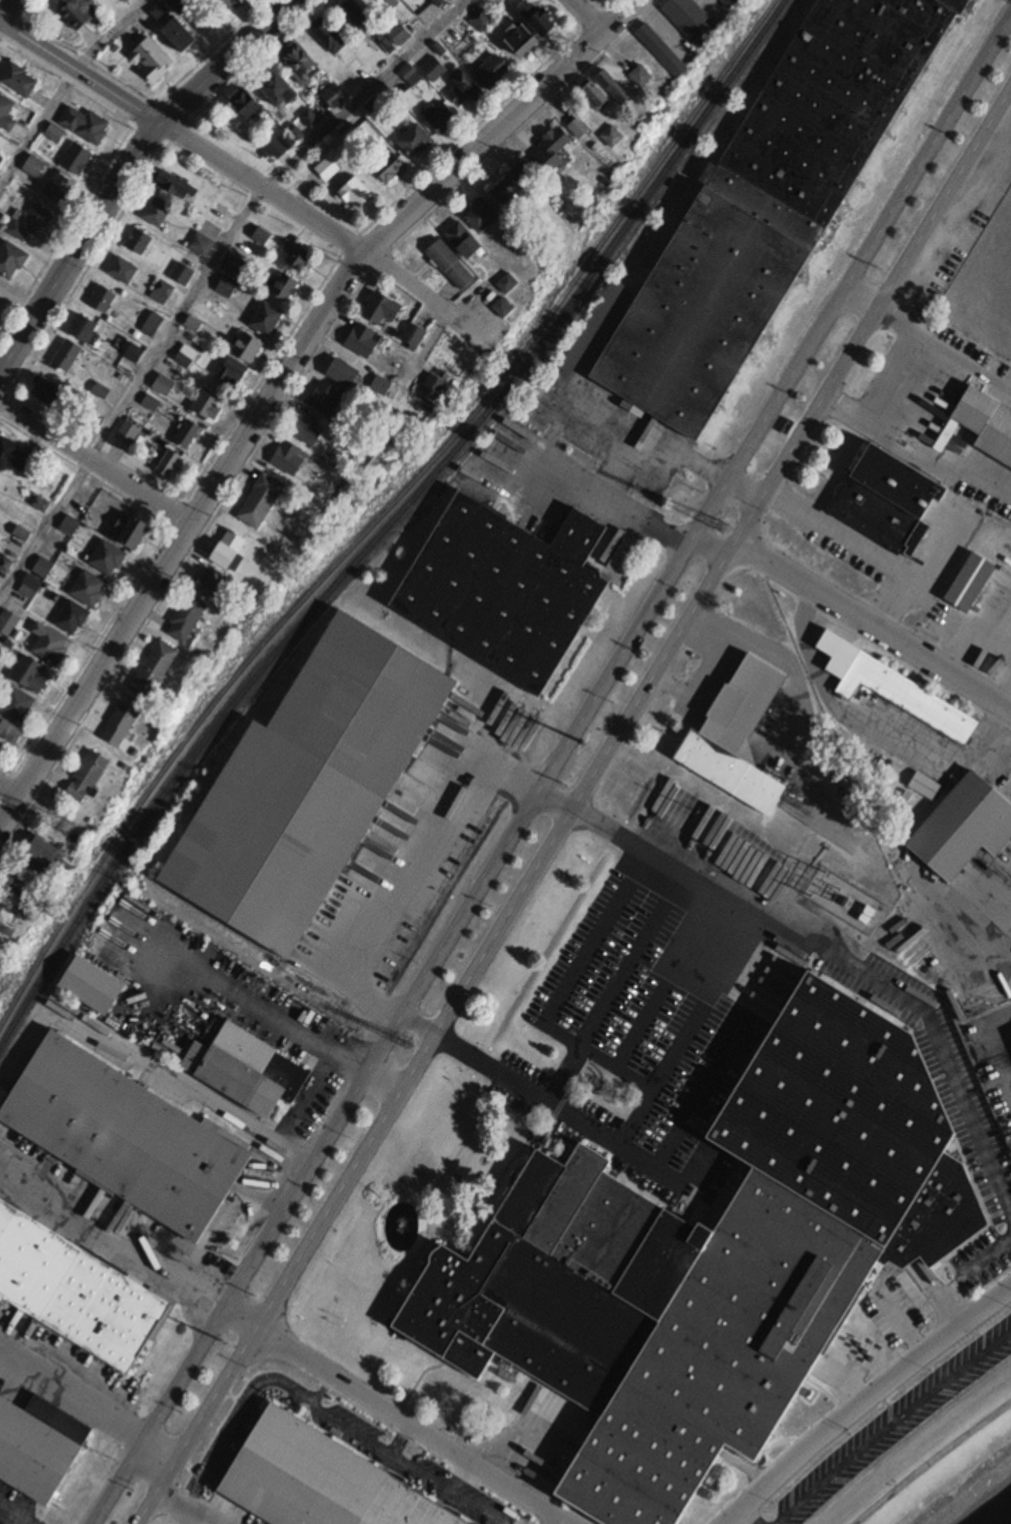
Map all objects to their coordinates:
building: (509, 0)
building: (126, 1)
building: (389, 3)
building: (734, 3)
building: (183, 6)
road: (6, 8)
building: (355, 15)
building: (77, 17)
building: (542, 20)
building: (206, 21)
road: (587, 21)
building: (481, 22)
building: (694, 22)
building: (399, 35)
building: (181, 36)
building: (327, 37)
building: (454, 40)
building: (523, 41)
building: (664, 52)
building: (153, 61)
building: (301, 64)
building: (434, 70)
building: (493, 73)
building: (411, 76)
road: (80, 77)
building: (644, 77)
building: (349, 81)
building: (20, 82)
road: (63, 85)
building: (616, 88)
building: (465, 89)
building: (280, 93)
building: (598, 96)
building: (334, 97)
building: (250, 107)
building: (7, 114)
building: (312, 117)
building: (441, 118)
building: (85, 126)
building: (581, 129)
building: (617, 138)
power tower: (957, 139)
building: (286, 142)
building: (415, 142)
building: (3, 144)
building: (552, 150)
building: (77, 160)
building: (35, 167)
building: (328, 169)
building: (391, 169)
road: (132, 171)
building: (174, 185)
building: (515, 185)
building: (60, 188)
building: (357, 194)
building: (772, 205)
building: (157, 213)
building: (483, 216)
building: (31, 224)
road: (330, 232)
building: (139, 242)
building: (466, 242)
building: (201, 245)
building: (11, 260)
building: (232, 265)
building: (451, 265)
power tower: (878, 269)
building: (123, 271)
building: (182, 274)
road: (206, 275)
road: (851, 278)
building: (284, 285)
building: (510, 285)
building: (227, 287)
building: (162, 293)
road: (861, 298)
building: (102, 300)
building: (383, 309)
building: (506, 309)
road: (871, 315)
building: (267, 320)
building: (153, 325)
building: (593, 327)
building: (85, 330)
building: (414, 336)
building: (364, 341)
building: (249, 349)
building: (135, 354)
building: (67, 356)
building: (186, 357)
building: (231, 371)
building: (344, 374)
road: (280, 382)
building: (164, 386)
building: (382, 386)
building: (435, 389)
building: (50, 394)
building: (327, 400)
power tower: (798, 400)
building: (209, 406)
building: (148, 407)
building: (987, 423)
building: (307, 433)
building: (131, 436)
building: (188, 436)
building: (12, 455)
building: (289, 459)
road: (95, 464)
building: (170, 464)
road: (743, 493)
building: (886, 499)
building: (262, 501)
building: (40, 504)
railway: (384, 512)
railway: (391, 522)
building: (69, 526)
power tower: (721, 527)
building: (134, 530)
building: (13, 549)
building: (231, 550)
road: (706, 551)
road: (729, 553)
building: (108, 558)
building: (67, 559)
building: (43, 568)
building: (212, 583)
building: (970, 583)
building: (30, 586)
building: (506, 588)
building: (89, 589)
building: (73, 618)
building: (189, 619)
building: (8, 622)
road: (873, 628)
building: (1, 646)
building: (52, 647)
building: (156, 671)
building: (31, 675)
building: (895, 689)
building: (17, 704)
building: (124, 726)
building: (737, 737)
power tower: (586, 745)
building: (90, 776)
building: (310, 786)
road: (12, 792)
road: (552, 804)
power tower: (697, 811)
building: (964, 826)
power tower: (69, 827)
building: (43, 855)
road: (401, 871)
power tower: (821, 884)
building: (21, 888)
power substation: (842, 900)
building: (9, 915)
road: (459, 921)
road: (847, 968)
building: (92, 984)
road: (606, 987)
road: (417, 1026)
road: (429, 1043)
power tower: (404, 1045)
building: (238, 1068)
road: (381, 1086)
building: (125, 1136)
road: (654, 1154)
building: (400, 1227)
building: (717, 1260)
building: (76, 1291)
road: (945, 1308)
power tower: (224, 1343)
road: (865, 1403)
road: (158, 1413)
road: (394, 1414)
road: (885, 1421)
building: (38, 1446)
road: (153, 1459)
road: (932, 1462)
building: (319, 1480)
road: (745, 1517)

